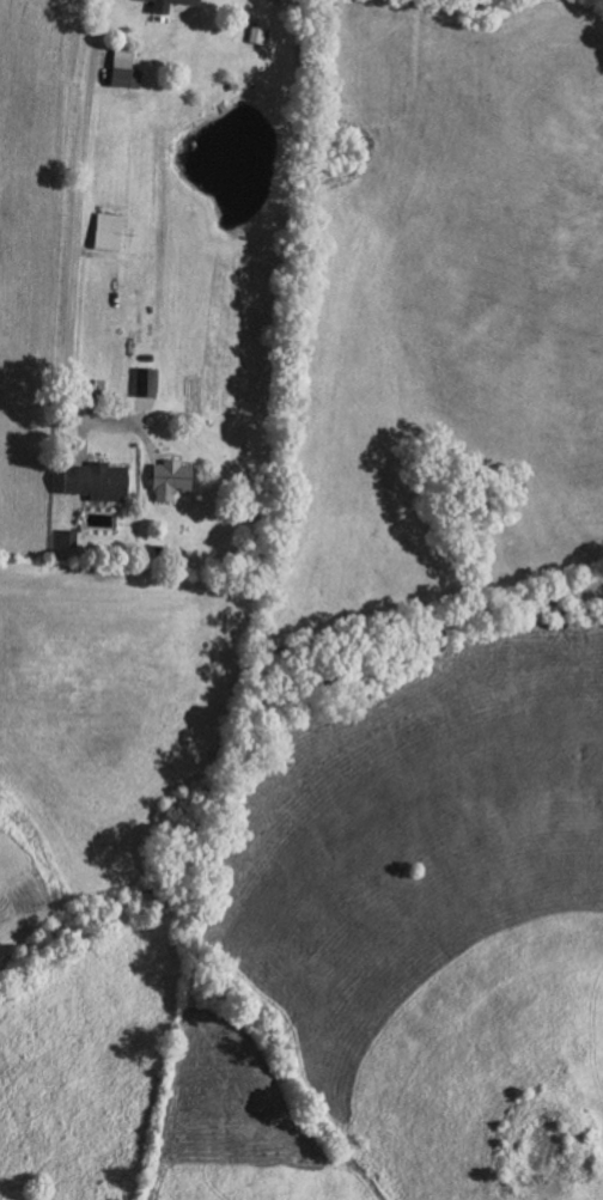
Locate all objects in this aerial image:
building: (163, 10)
road: (84, 179)
building: (111, 232)
building: (148, 382)
building: (172, 479)
building: (99, 481)
building: (71, 537)

